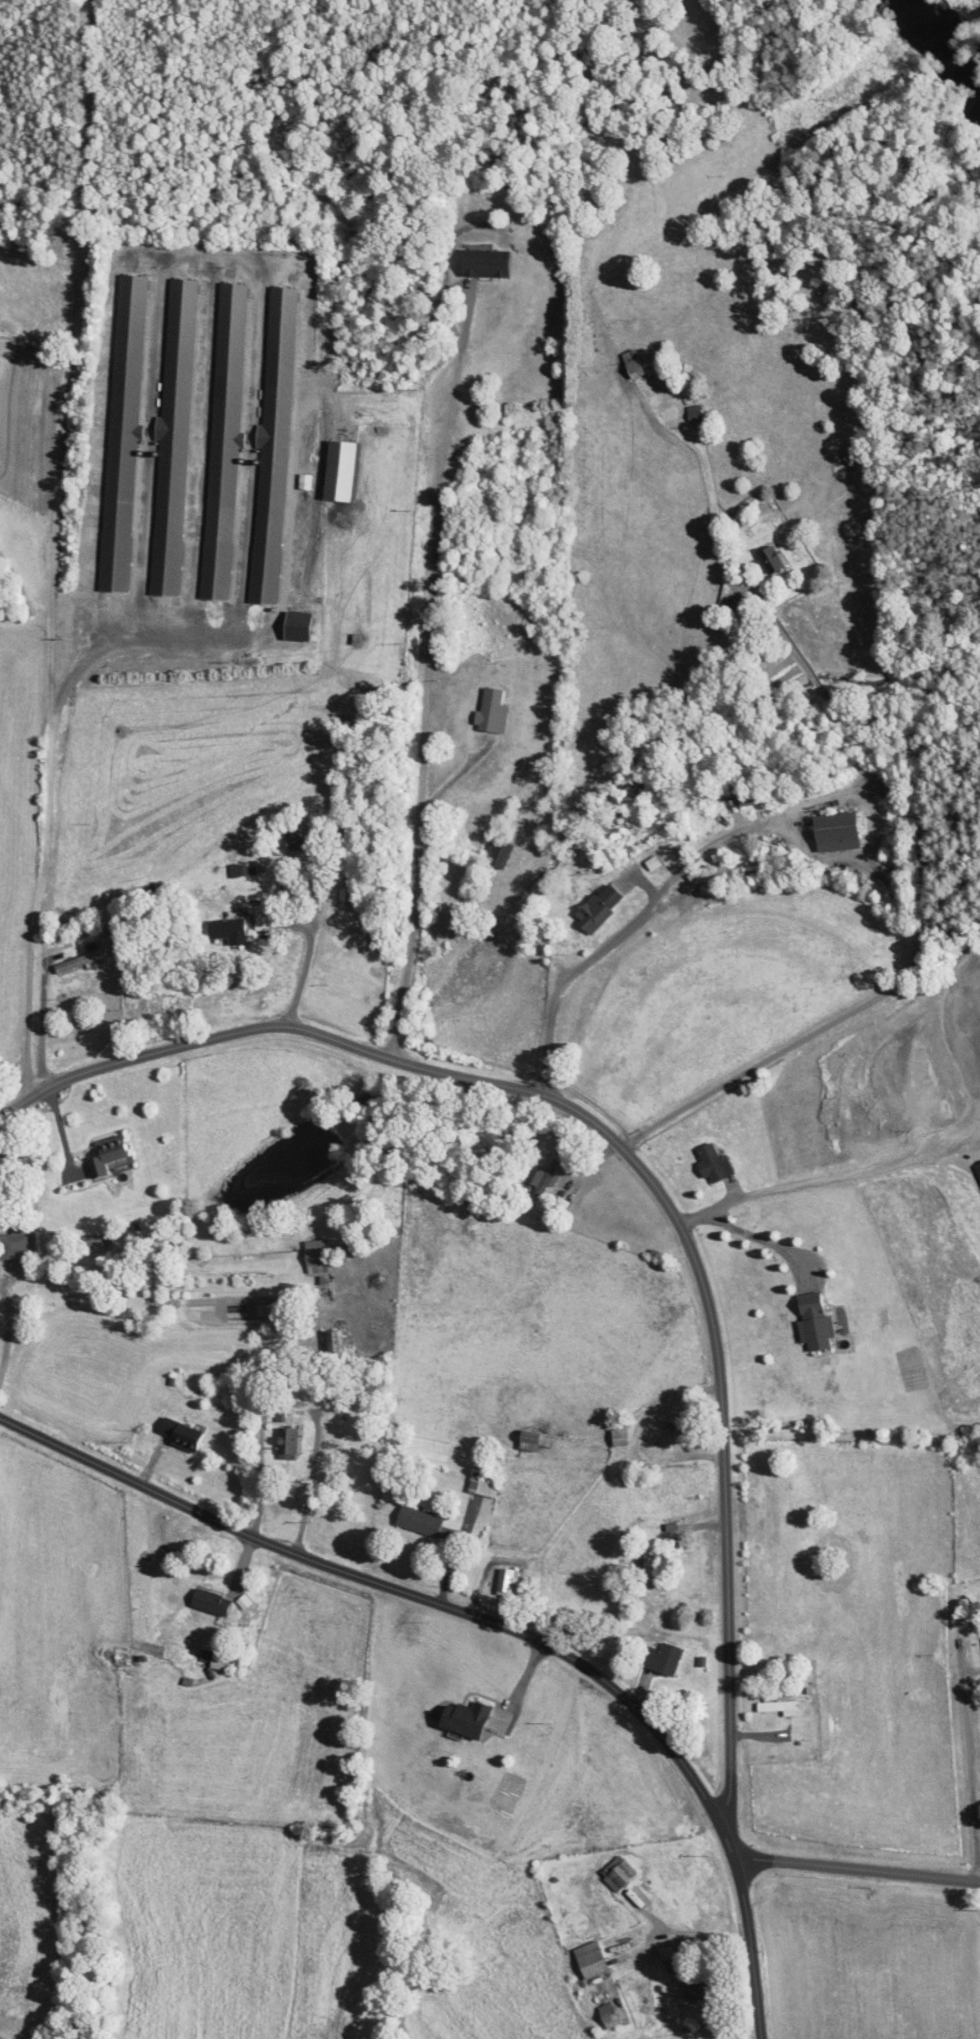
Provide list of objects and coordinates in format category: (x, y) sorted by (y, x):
river: (950, 43)
building: (478, 264)
building: (629, 365)
building: (691, 414)
building: (119, 434)
building: (170, 440)
building: (221, 442)
building: (270, 446)
building: (768, 559)
road: (51, 565)
building: (726, 607)
building: (291, 626)
road: (424, 671)
building: (487, 713)
building: (831, 833)
building: (289, 838)
building: (493, 854)
building: (235, 871)
building: (697, 876)
road: (648, 905)
building: (595, 909)
road: (925, 913)
building: (224, 931)
building: (74, 963)
road: (297, 994)
building: (104, 1155)
road: (633, 1161)
building: (710, 1165)
road: (827, 1178)
building: (541, 1180)
building: (556, 1206)
building: (17, 1246)
building: (311, 1254)
building: (810, 1322)
building: (331, 1343)
building: (671, 1431)
building: (176, 1435)
road: (633, 1435)
building: (531, 1442)
building: (283, 1444)
building: (479, 1487)
building: (414, 1522)
building: (643, 1564)
building: (501, 1584)
building: (205, 1604)
road: (491, 1621)
building: (659, 1659)
building: (211, 1661)
building: (116, 1667)
building: (774, 1707)
building: (457, 1719)
road: (964, 1733)
road: (856, 1869)
building: (614, 1873)
building: (587, 1960)
building: (604, 2016)

